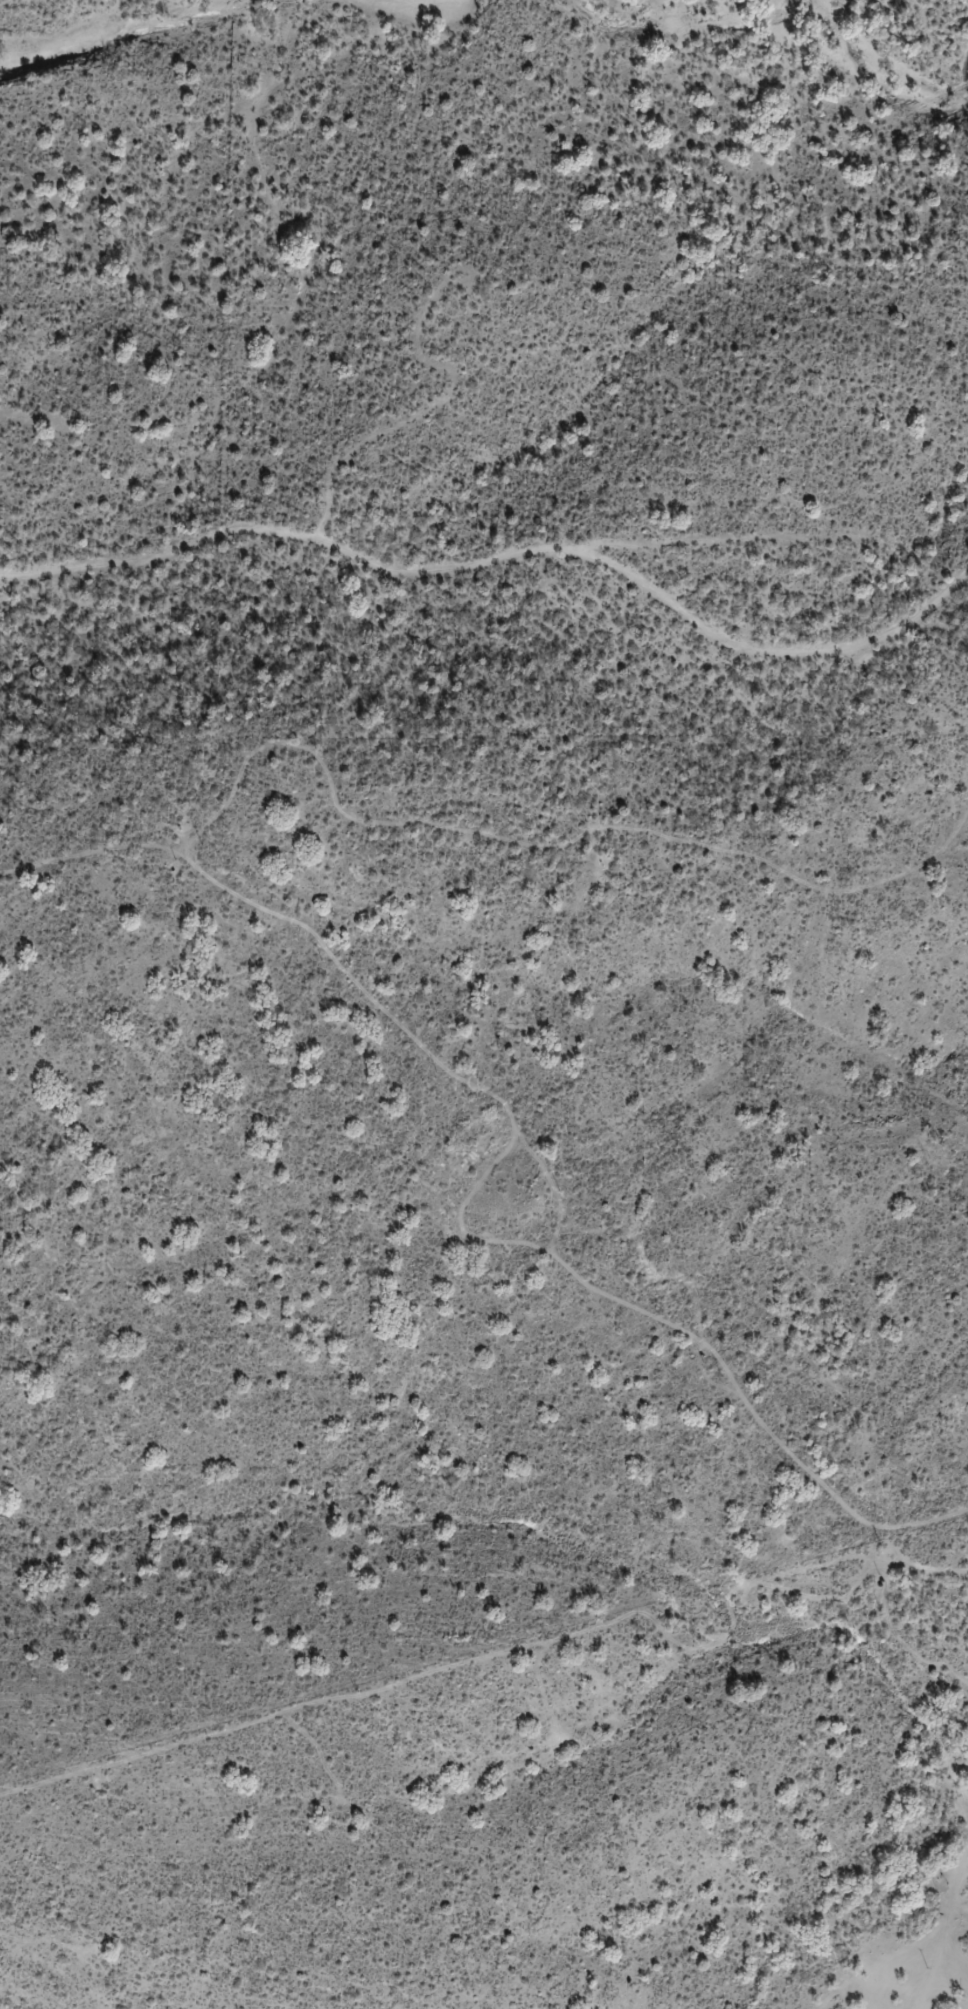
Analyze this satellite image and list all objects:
road: (847, 1508)

